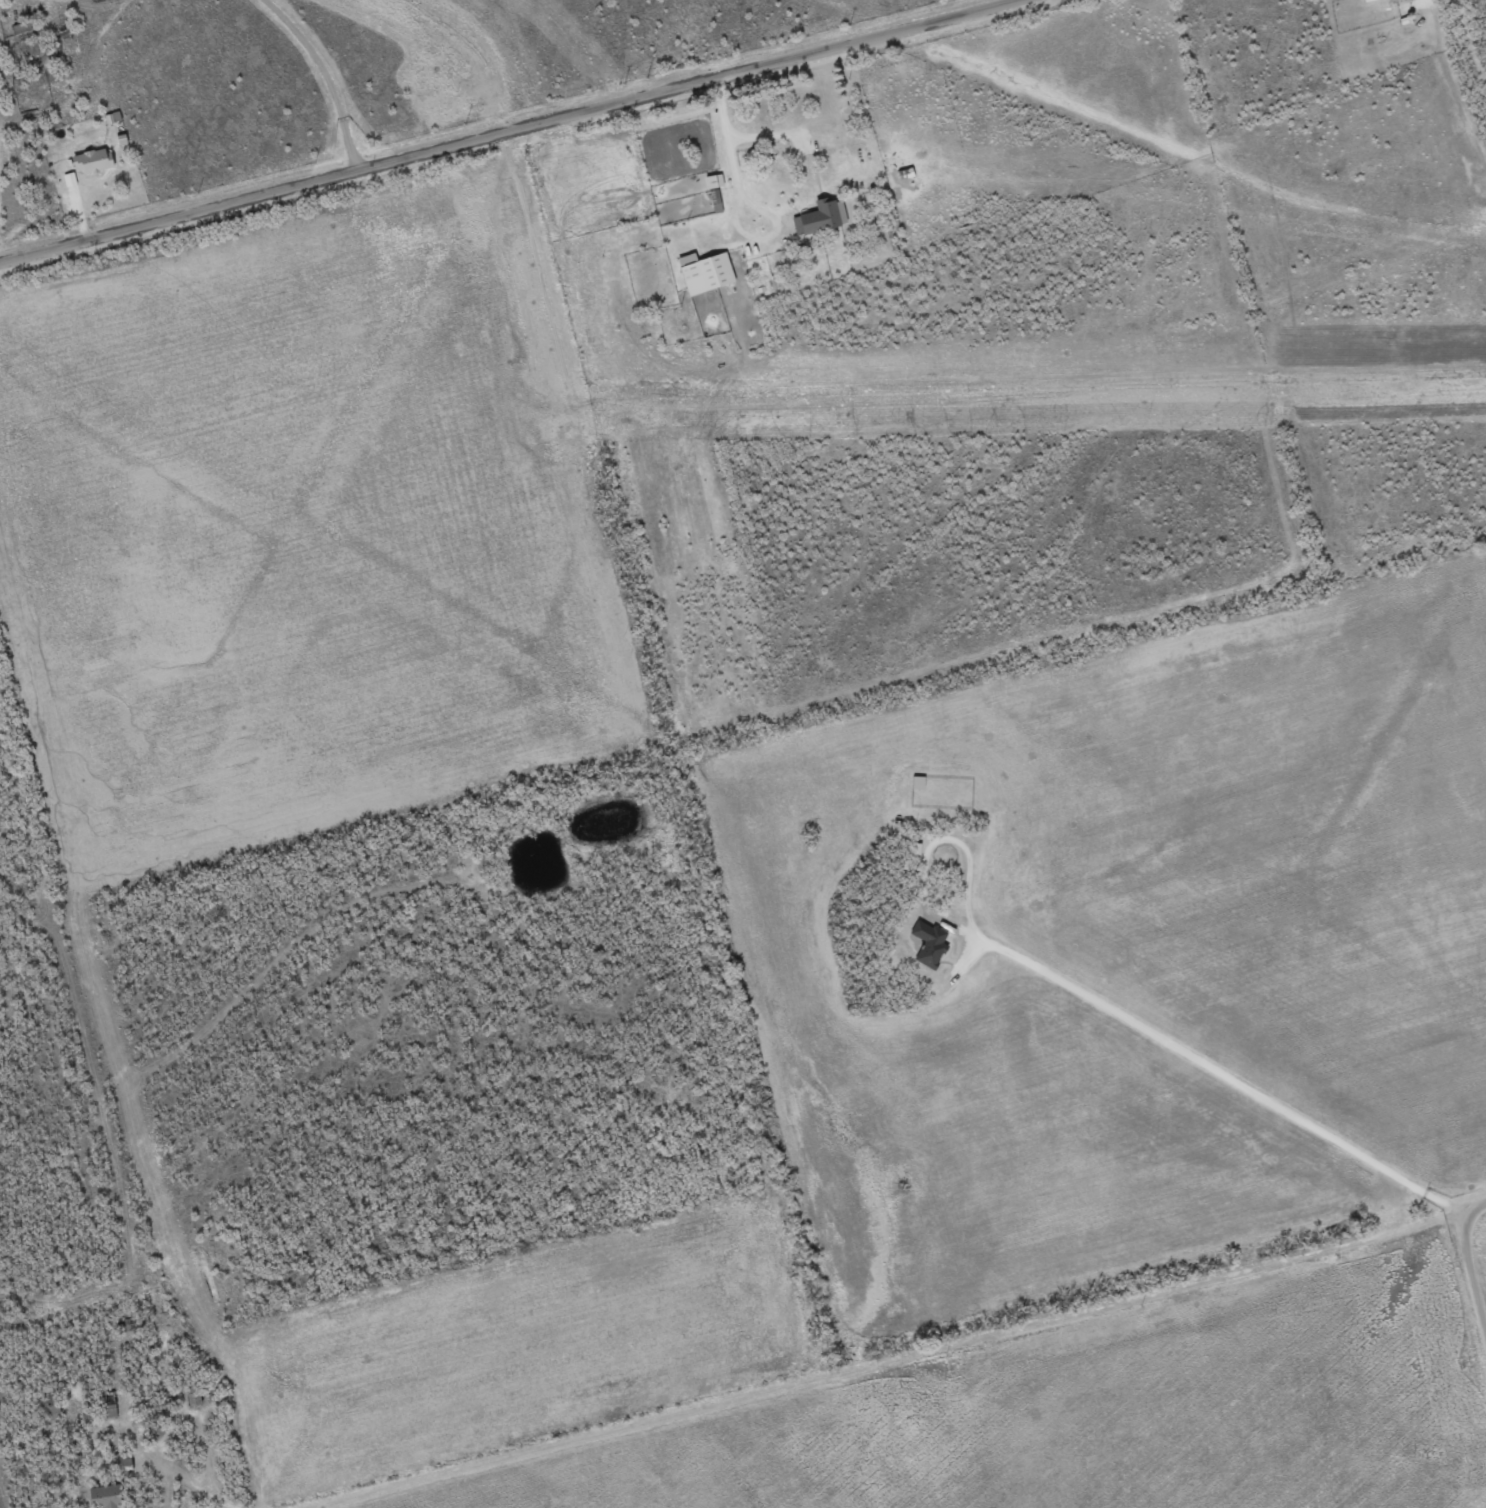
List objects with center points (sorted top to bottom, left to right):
building: (1369, 1)
road: (73, 74)
road: (326, 76)
road: (507, 131)
building: (93, 160)
building: (714, 180)
building: (821, 217)
building: (705, 272)
building: (929, 943)
road: (1218, 1072)
road: (1469, 1258)
road: (880, 1360)
road: (196, 1486)
building: (104, 1496)

